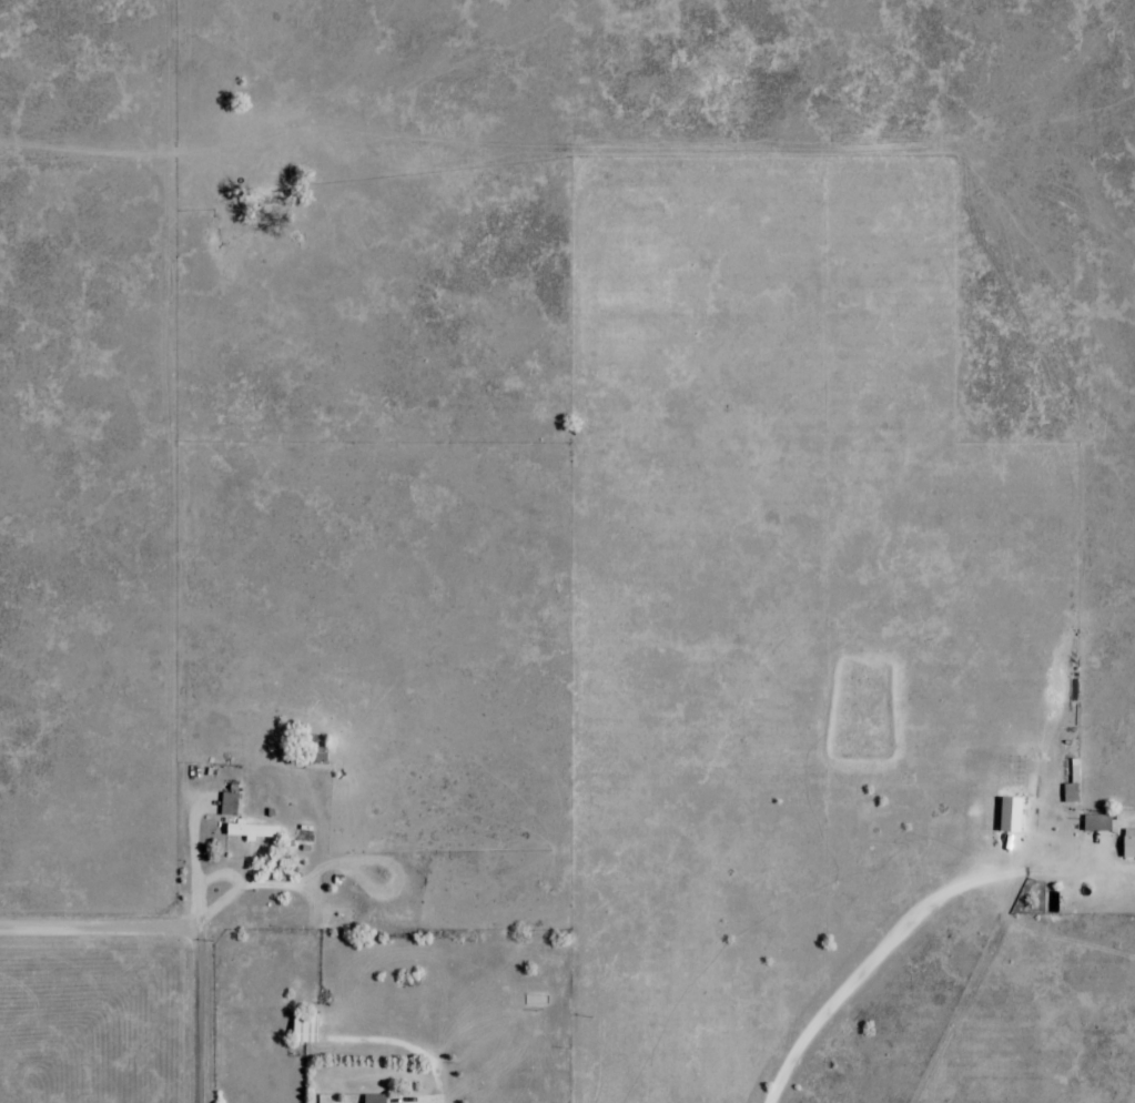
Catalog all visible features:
building: (1073, 785)
building: (229, 805)
building: (1097, 822)
building: (252, 831)
building: (1128, 843)
road: (101, 931)
road: (202, 979)
building: (305, 1028)
road: (445, 1029)

